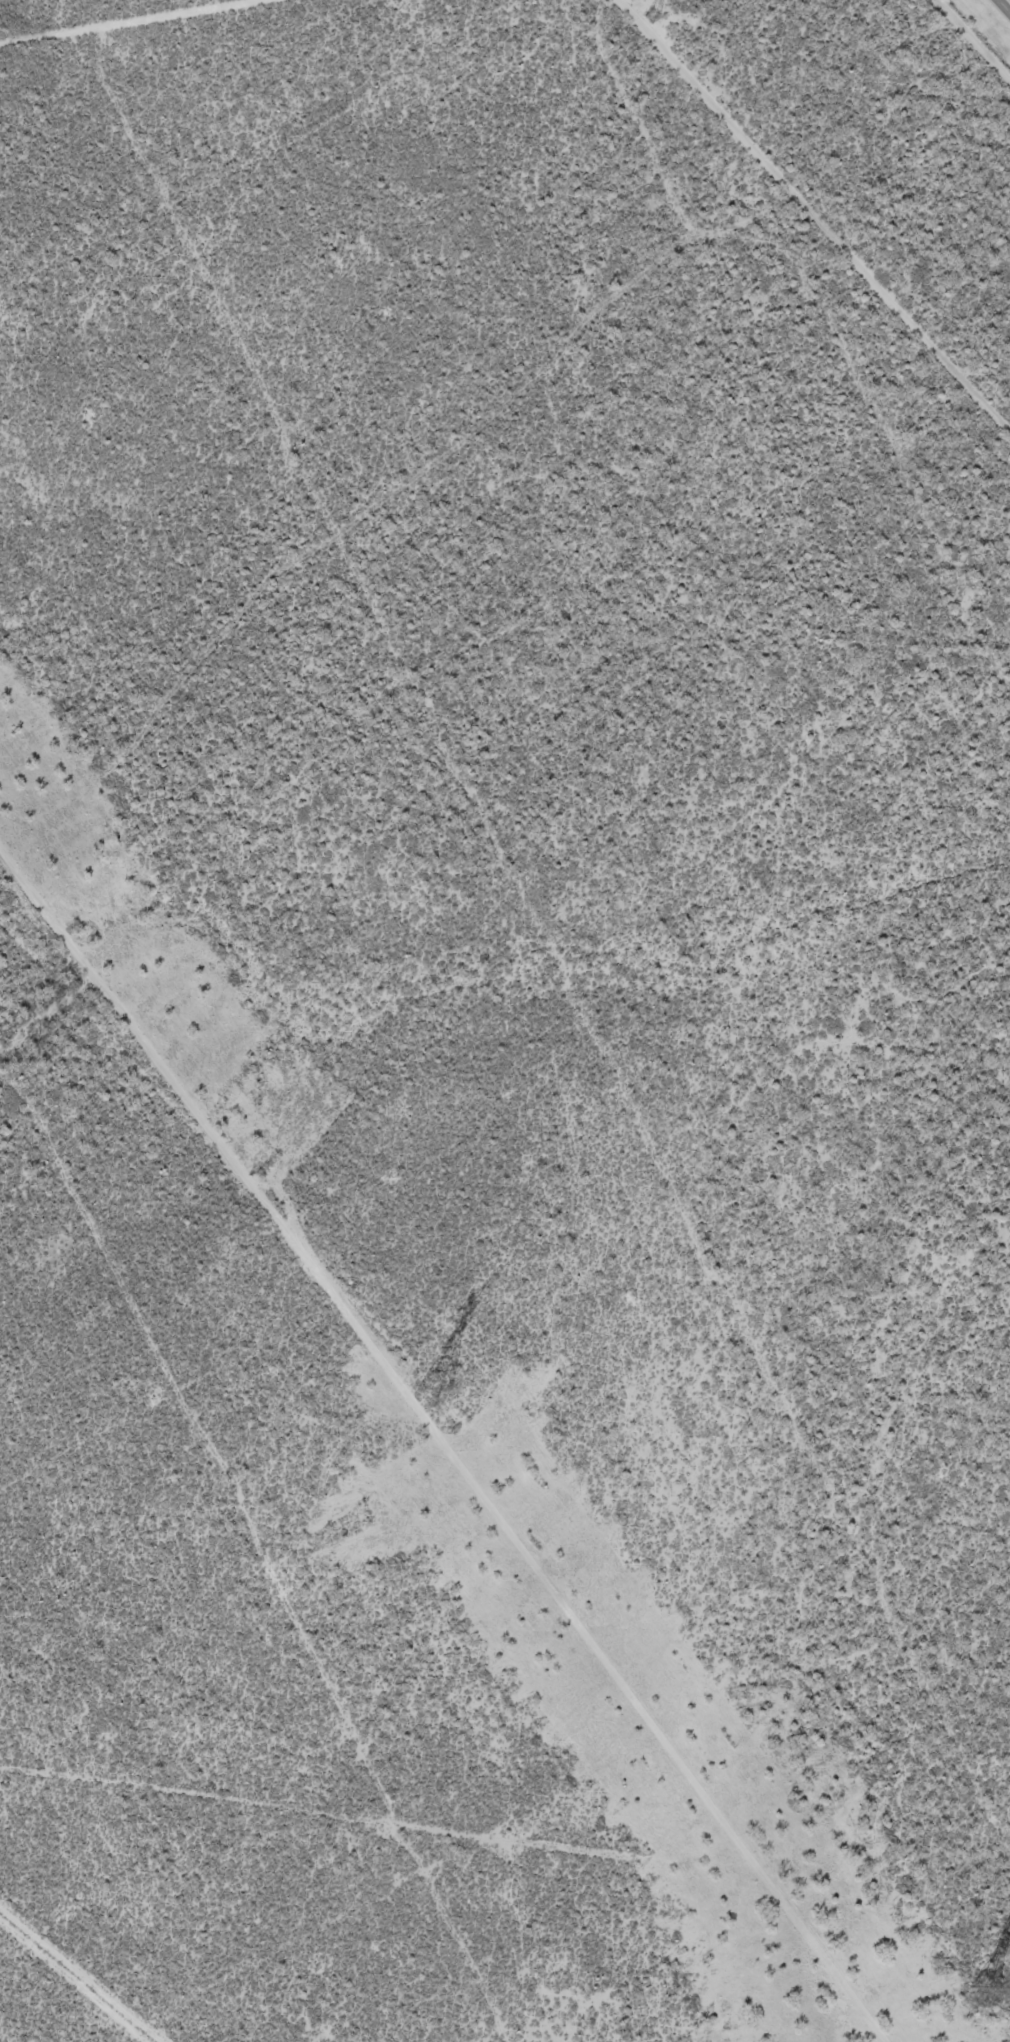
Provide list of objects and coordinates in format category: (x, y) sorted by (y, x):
power tower: (643, 16)
power tower: (428, 1386)
power tower: (984, 1987)

